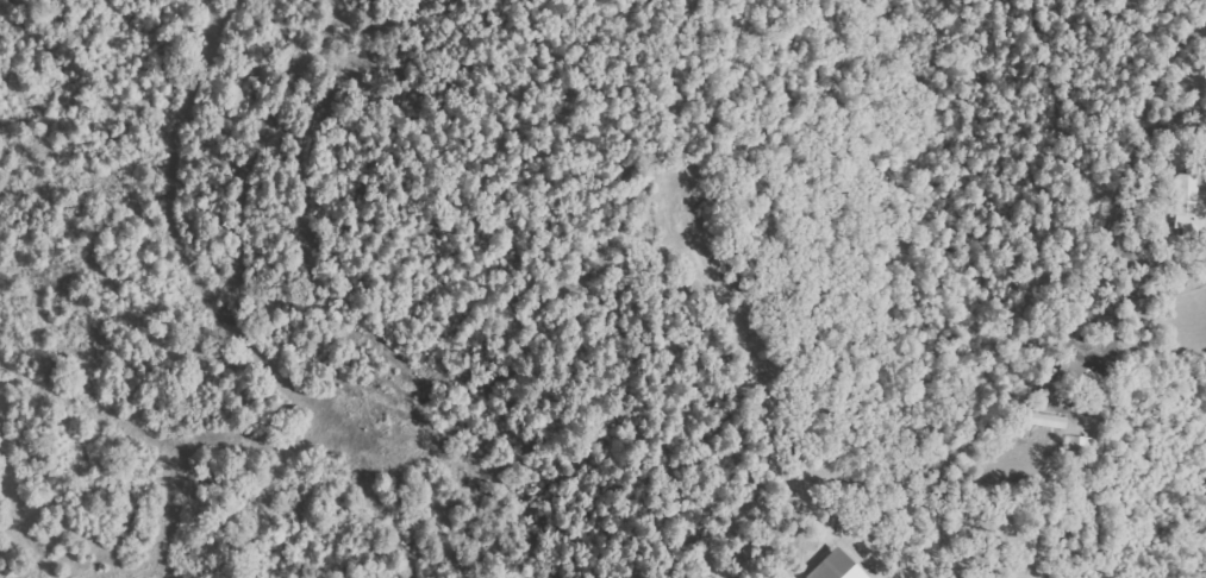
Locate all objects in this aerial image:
building: (1189, 203)
building: (1085, 375)
building: (1050, 420)
building: (839, 566)

